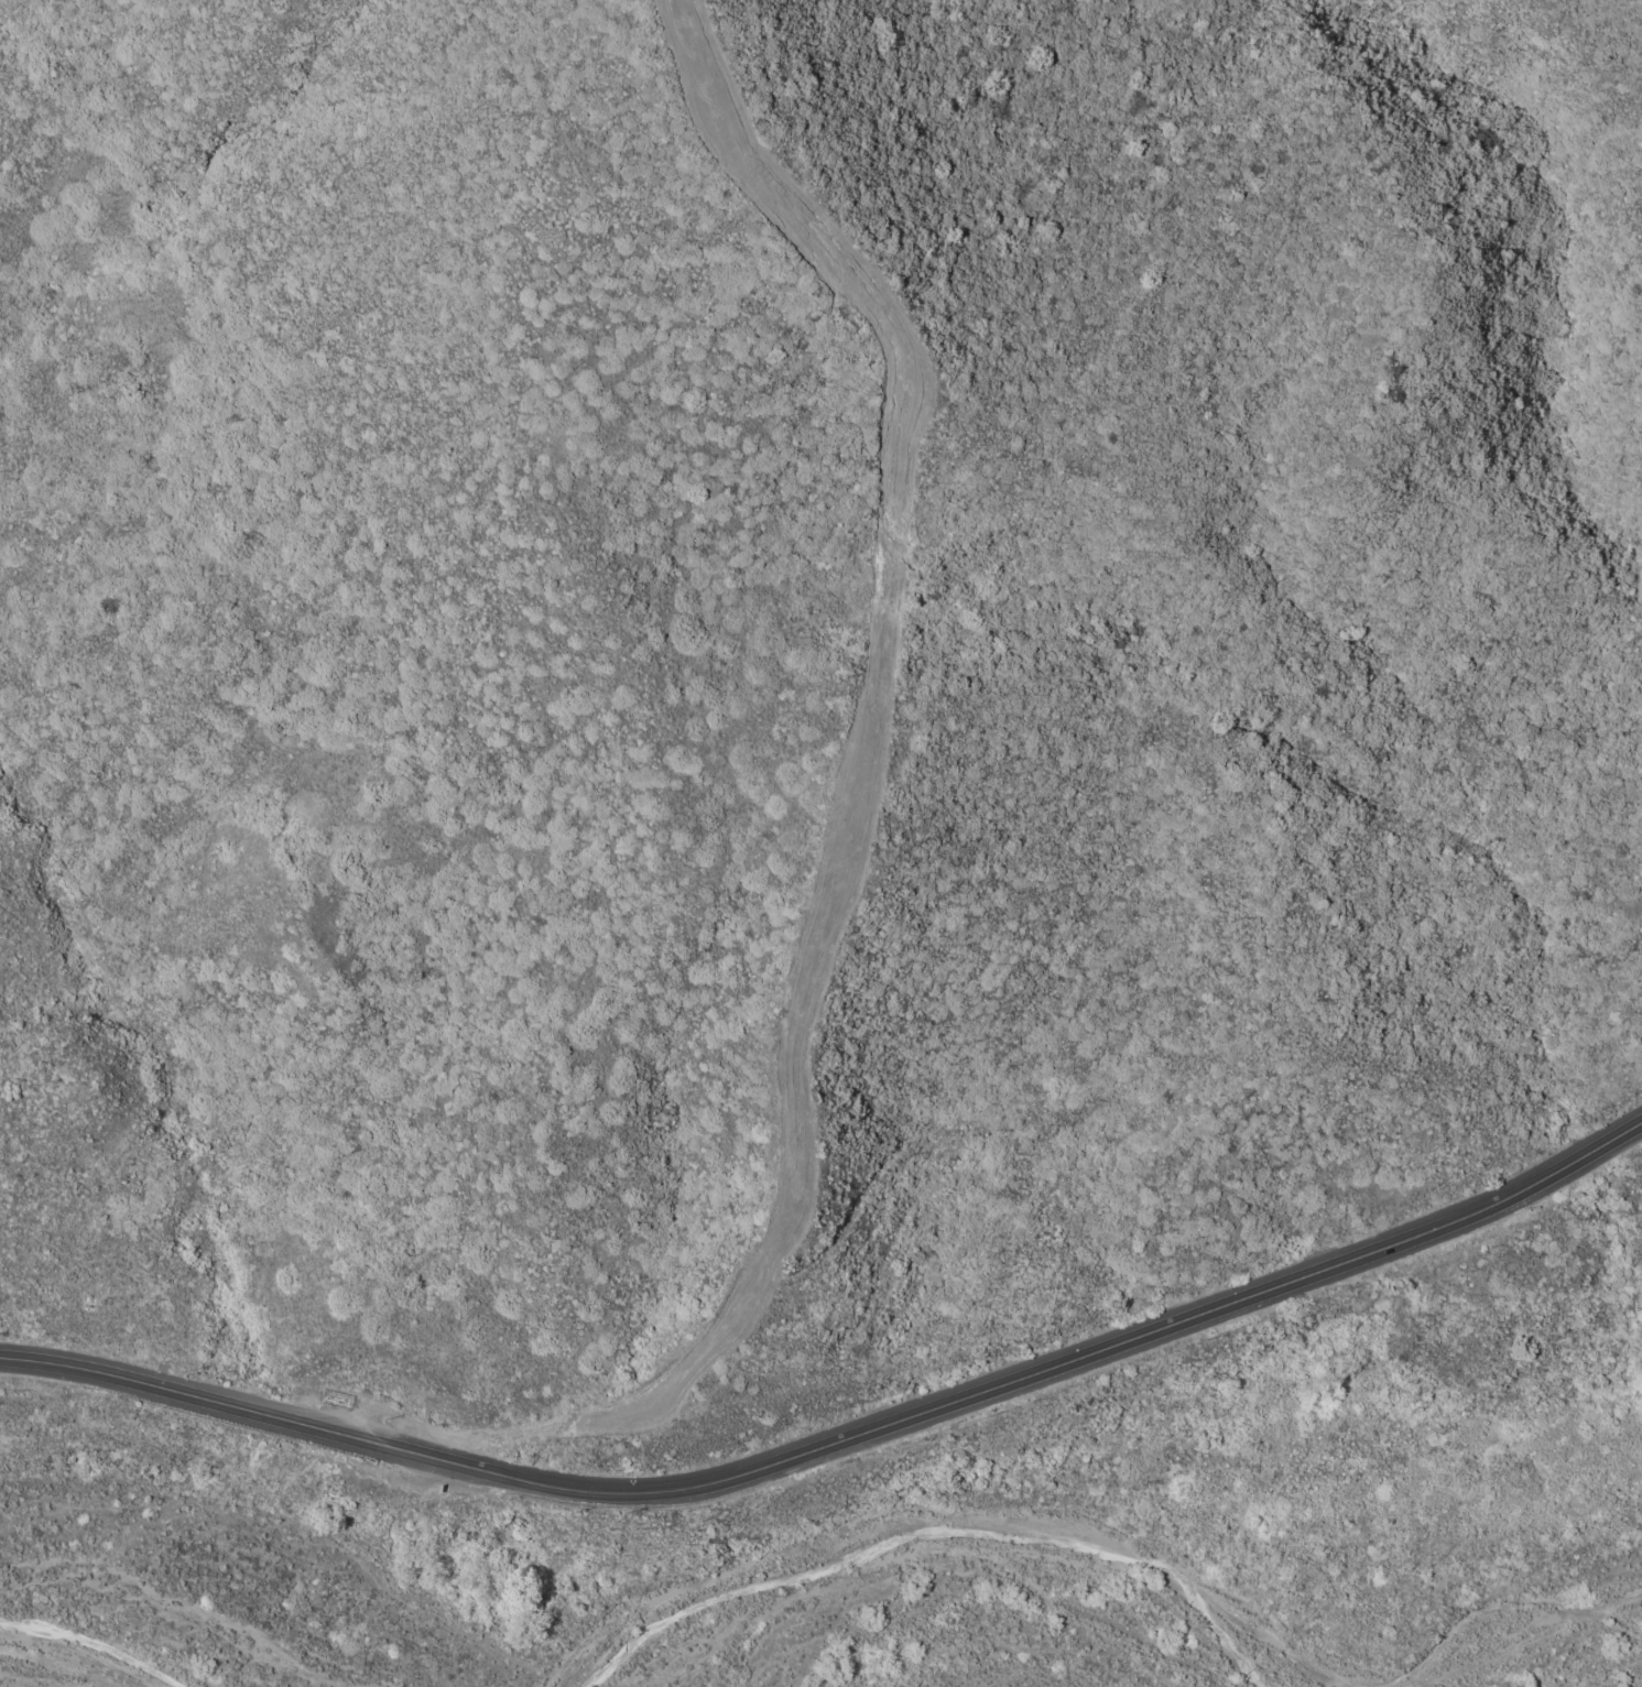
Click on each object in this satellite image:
road: (857, 799)
road: (1589, 1149)
road: (1502, 1198)
road: (1334, 1263)
road: (90, 1369)
road: (1019, 1375)
road: (295, 1421)
road: (798, 1455)
road: (469, 1466)
road: (645, 1492)
road: (1119, 1549)
road: (80, 1654)

